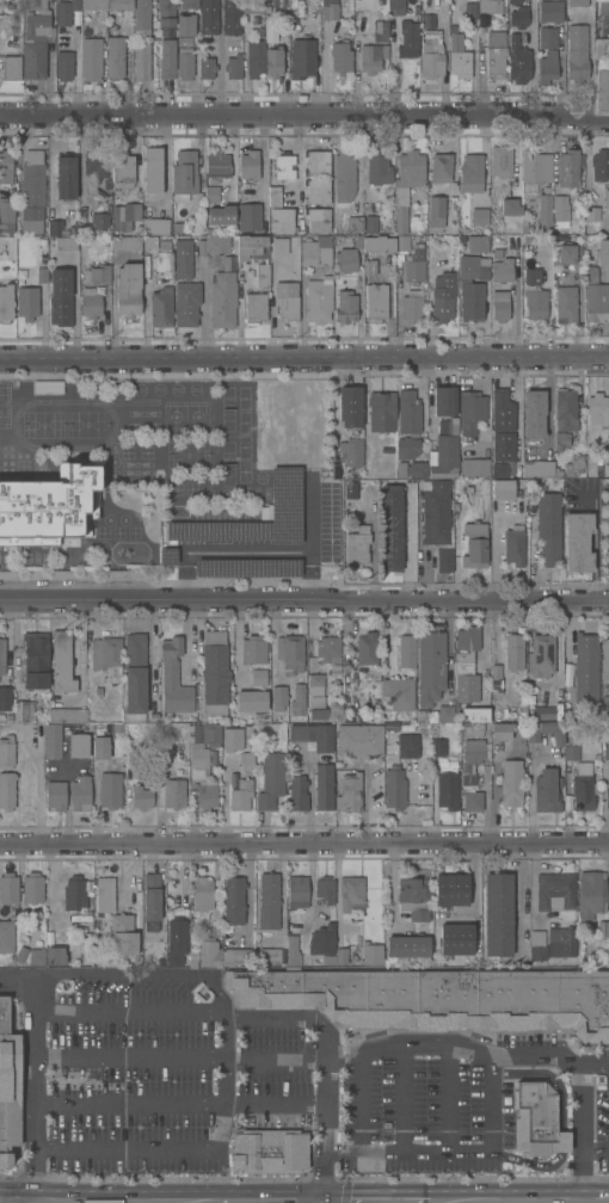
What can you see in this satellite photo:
building: (577, 2)
building: (93, 4)
building: (189, 4)
building: (119, 5)
building: (494, 5)
building: (253, 6)
building: (601, 6)
building: (395, 8)
building: (328, 10)
building: (469, 10)
building: (549, 11)
building: (62, 13)
building: (166, 13)
building: (141, 14)
building: (208, 17)
building: (230, 17)
building: (518, 17)
building: (185, 25)
building: (427, 30)
building: (380, 31)
building: (270, 32)
building: (36, 37)
building: (548, 37)
building: (407, 38)
building: (493, 38)
building: (601, 48)
building: (497, 51)
building: (577, 53)
building: (431, 54)
building: (115, 56)
building: (340, 56)
building: (459, 56)
building: (91, 57)
building: (166, 57)
building: (254, 57)
building: (301, 57)
building: (369, 57)
building: (518, 60)
building: (141, 61)
building: (272, 62)
building: (184, 63)
building: (63, 64)
building: (205, 66)
building: (233, 66)
building: (11, 67)
building: (546, 67)
building: (601, 90)
road: (304, 118)
building: (96, 162)
building: (316, 162)
building: (217, 164)
building: (248, 164)
building: (599, 164)
building: (283, 165)
building: (411, 166)
building: (500, 166)
building: (535, 166)
building: (441, 167)
building: (568, 167)
building: (377, 168)
building: (153, 169)
building: (5, 171)
building: (470, 173)
building: (184, 174)
building: (66, 175)
building: (344, 175)
building: (31, 191)
building: (316, 191)
building: (211, 193)
building: (117, 196)
building: (273, 196)
building: (605, 200)
building: (509, 205)
building: (400, 209)
building: (436, 210)
building: (560, 210)
building: (545, 211)
building: (6, 215)
building: (219, 215)
building: (248, 216)
building: (479, 216)
building: (591, 218)
building: (282, 220)
building: (316, 220)
building: (98, 221)
building: (355, 223)
building: (154, 224)
building: (370, 224)
building: (56, 228)
building: (177, 228)
building: (125, 242)
building: (377, 242)
building: (401, 242)
building: (476, 242)
building: (66, 243)
building: (213, 243)
building: (278, 246)
building: (251, 247)
building: (313, 249)
building: (566, 253)
building: (593, 257)
building: (183, 258)
building: (346, 259)
building: (162, 261)
building: (369, 266)
building: (413, 266)
building: (473, 266)
building: (502, 270)
building: (99, 272)
building: (263, 274)
building: (39, 276)
building: (530, 277)
building: (562, 277)
building: (128, 289)
building: (60, 296)
building: (222, 298)
building: (535, 298)
building: (470, 300)
building: (90, 301)
building: (318, 301)
building: (376, 301)
building: (6, 302)
building: (26, 302)
building: (186, 302)
building: (596, 302)
building: (565, 303)
building: (500, 304)
building: (161, 306)
building: (345, 306)
building: (411, 306)
building: (288, 307)
building: (254, 308)
building: (442, 308)
road: (303, 358)
building: (45, 387)
building: (444, 400)
road: (427, 402)
building: (349, 407)
building: (470, 409)
building: (596, 409)
building: (408, 411)
building: (502, 411)
building: (381, 412)
building: (533, 414)
building: (565, 419)
park: (288, 424)
building: (445, 426)
building: (503, 445)
building: (406, 448)
building: (350, 452)
building: (443, 458)
building: (572, 464)
building: (474, 468)
building: (499, 468)
building: (417, 469)
building: (540, 469)
building: (502, 489)
building: (284, 504)
building: (49, 507)
road: (310, 512)
building: (433, 517)
building: (547, 526)
building: (390, 528)
parking lot: (267, 532)
building: (515, 535)
building: (576, 542)
building: (474, 545)
building: (356, 547)
road: (247, 551)
building: (165, 555)
building: (443, 560)
road: (304, 600)
road: (235, 642)
building: (364, 649)
building: (252, 650)
building: (288, 652)
building: (405, 652)
building: (328, 653)
building: (512, 653)
building: (105, 655)
building: (540, 655)
building: (1, 656)
building: (604, 659)
building: (35, 661)
building: (61, 662)
building: (465, 665)
building: (429, 666)
building: (584, 670)
building: (214, 672)
building: (134, 678)
building: (257, 678)
building: (172, 679)
building: (494, 679)
building: (315, 681)
building: (396, 693)
building: (277, 697)
building: (5, 698)
building: (608, 698)
building: (296, 699)
building: (250, 702)
building: (21, 711)
building: (590, 712)
building: (444, 714)
building: (475, 714)
building: (316, 715)
building: (66, 716)
building: (499, 730)
building: (545, 733)
building: (310, 736)
building: (50, 740)
building: (230, 740)
building: (358, 740)
building: (76, 746)
building: (605, 746)
building: (99, 748)
building: (201, 748)
building: (408, 748)
building: (437, 748)
building: (571, 748)
building: (6, 752)
building: (472, 752)
building: (246, 759)
road: (63, 770)
building: (269, 782)
building: (467, 782)
building: (510, 783)
building: (393, 786)
building: (322, 788)
building: (582, 788)
road: (37, 789)
building: (109, 790)
road: (530, 790)
building: (546, 790)
building: (6, 791)
building: (445, 791)
road: (66, 792)
road: (308, 792)
building: (349, 792)
building: (79, 794)
building: (173, 794)
building: (297, 794)
building: (54, 795)
building: (239, 795)
building: (204, 796)
building: (140, 797)
building: (607, 797)
road: (223, 802)
building: (472, 802)
road: (367, 806)
road: (304, 844)
road: (473, 877)
building: (8, 887)
building: (31, 887)
building: (324, 887)
road: (281, 889)
building: (451, 889)
road: (247, 892)
building: (296, 892)
building: (554, 892)
building: (202, 893)
building: (350, 893)
building: (104, 894)
building: (590, 895)
road: (518, 896)
building: (413, 897)
building: (233, 899)
building: (75, 900)
building: (150, 900)
building: (267, 900)
building: (497, 914)
building: (603, 929)
building: (122, 933)
building: (6, 936)
building: (177, 937)
building: (456, 938)
building: (536, 938)
building: (321, 939)
building: (562, 939)
building: (407, 945)
building: (86, 948)
building: (291, 949)
building: (208, 952)
building: (370, 954)
building: (55, 955)
building: (239, 955)
building: (269, 955)
building: (536, 955)
building: (20, 956)
building: (36, 956)
building: (336, 956)
road: (141, 975)
building: (437, 998)
road: (189, 1014)
road: (519, 1055)
road: (197, 1057)
road: (593, 1063)
building: (8, 1086)
road: (400, 1099)
road: (357, 1102)
road: (176, 1106)
building: (536, 1119)
road: (487, 1121)
road: (31, 1128)
road: (143, 1146)
building: (269, 1149)
road: (436, 1150)
road: (593, 1156)
road: (109, 1202)
road: (269, 1202)

